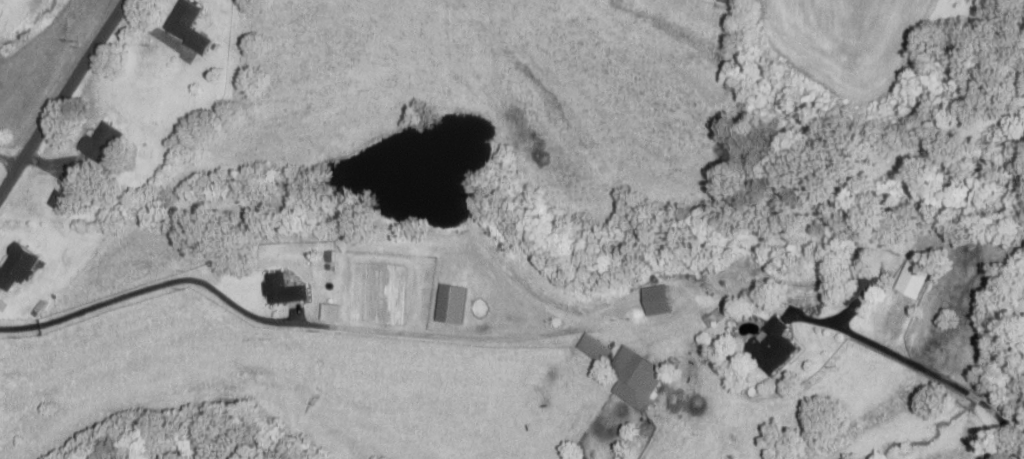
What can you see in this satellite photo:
building: (184, 27)
road: (61, 100)
building: (98, 143)
building: (55, 200)
building: (14, 269)
building: (910, 282)
building: (860, 286)
building: (280, 291)
road: (278, 323)
building: (770, 347)
building: (633, 378)

